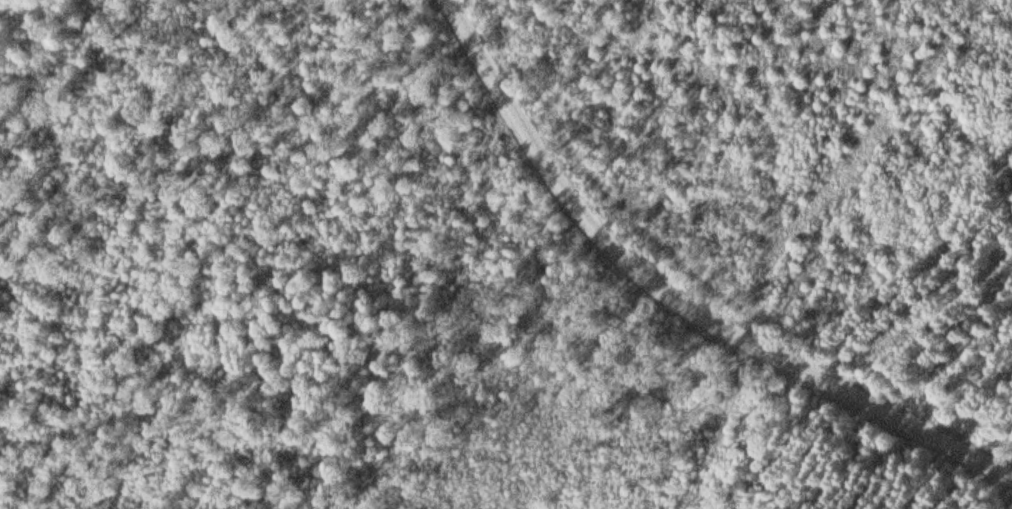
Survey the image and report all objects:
road: (672, 303)

